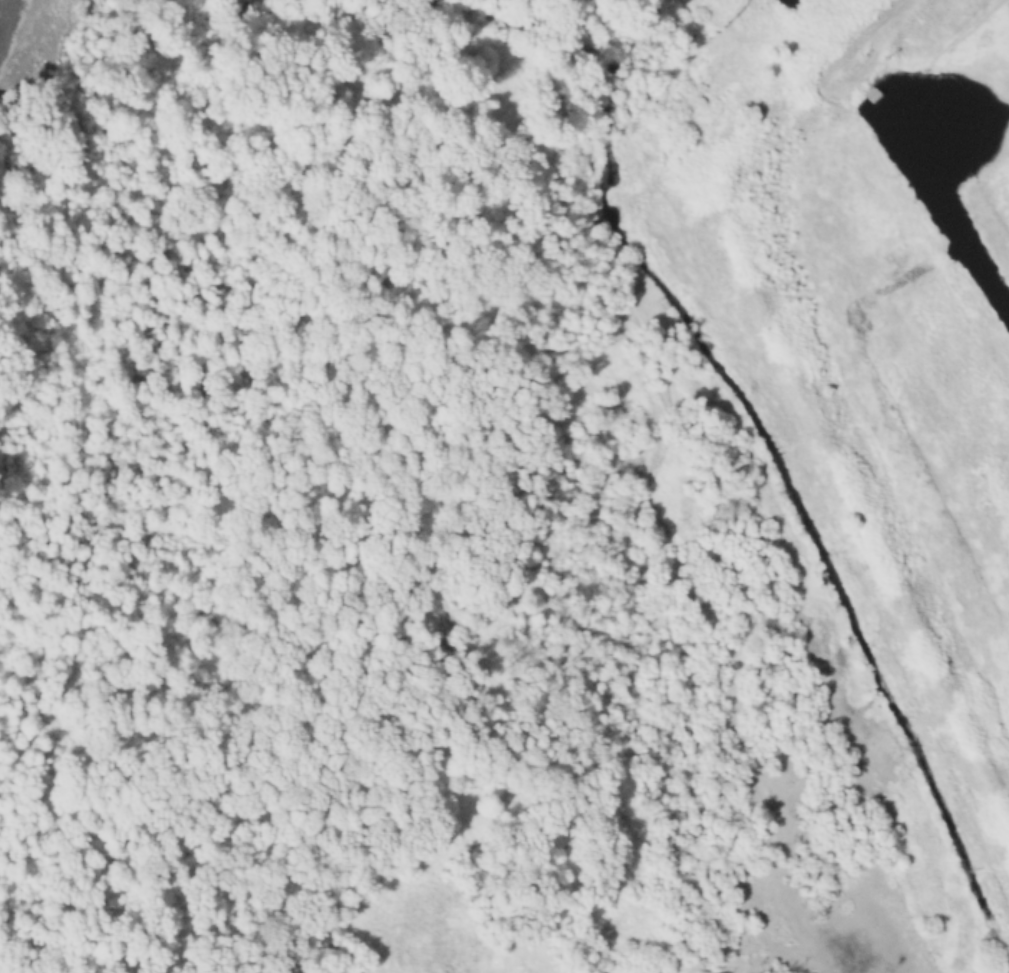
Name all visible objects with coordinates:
road: (890, 24)

